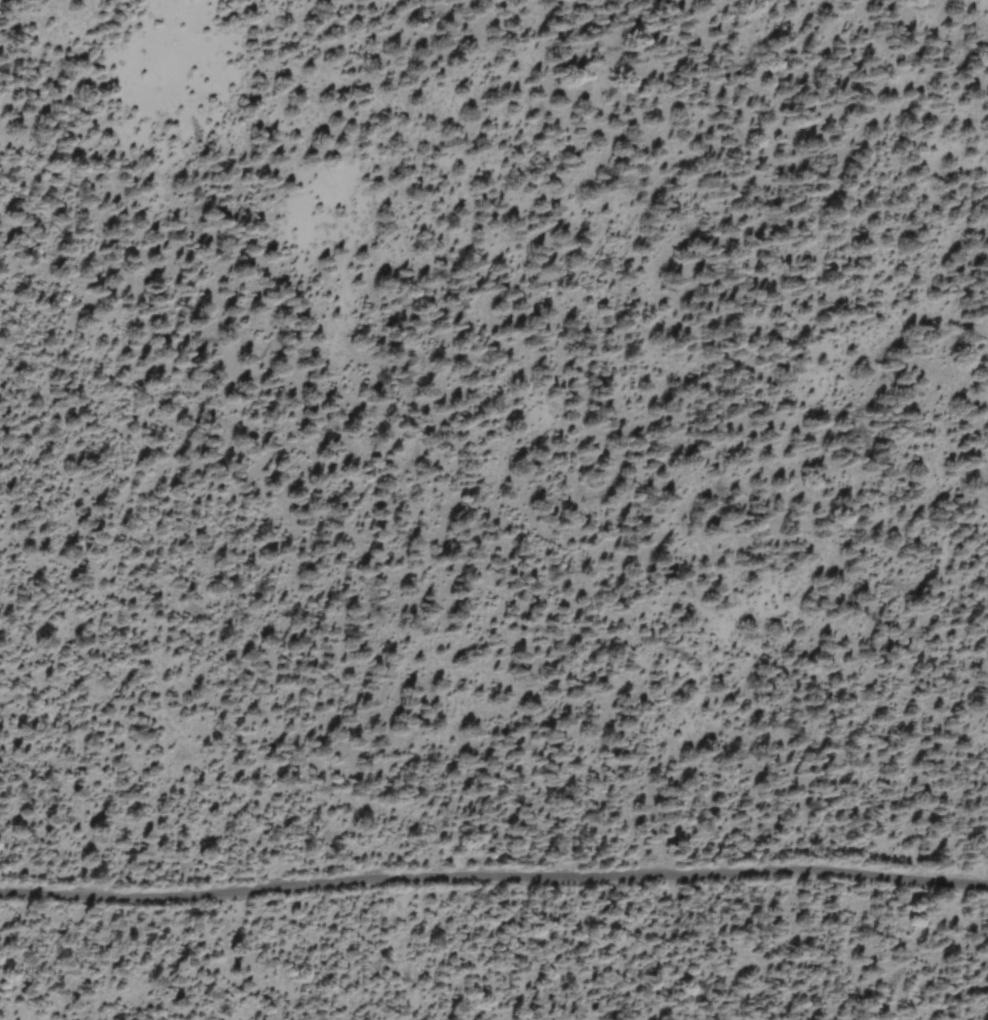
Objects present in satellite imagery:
road: (493, 881)
road: (916, 948)

